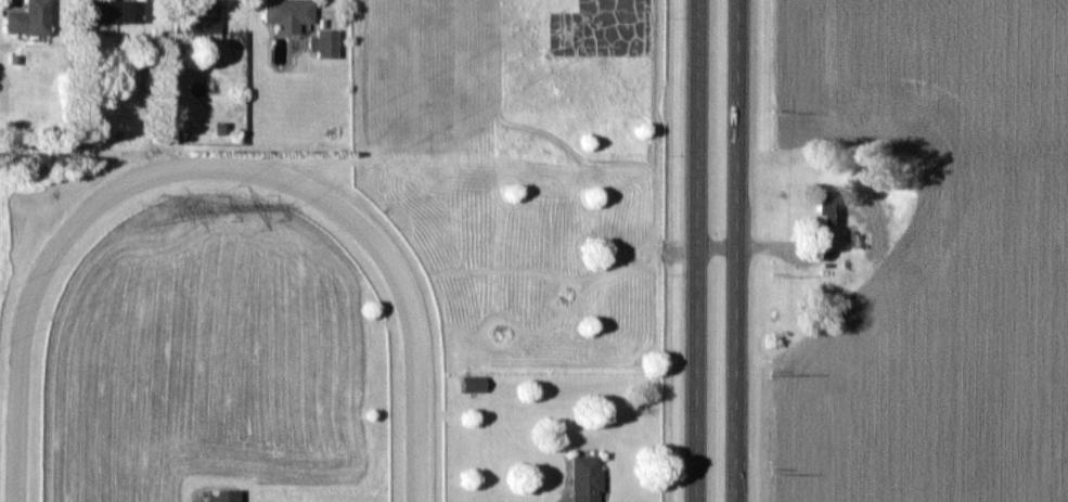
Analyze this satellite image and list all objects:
building: (114, 12)
building: (286, 14)
building: (195, 17)
building: (27, 20)
building: (324, 44)
building: (826, 206)
power tower: (156, 211)
road: (696, 250)
road: (736, 250)
crop: (919, 252)
building: (472, 385)
building: (584, 479)
building: (221, 495)

